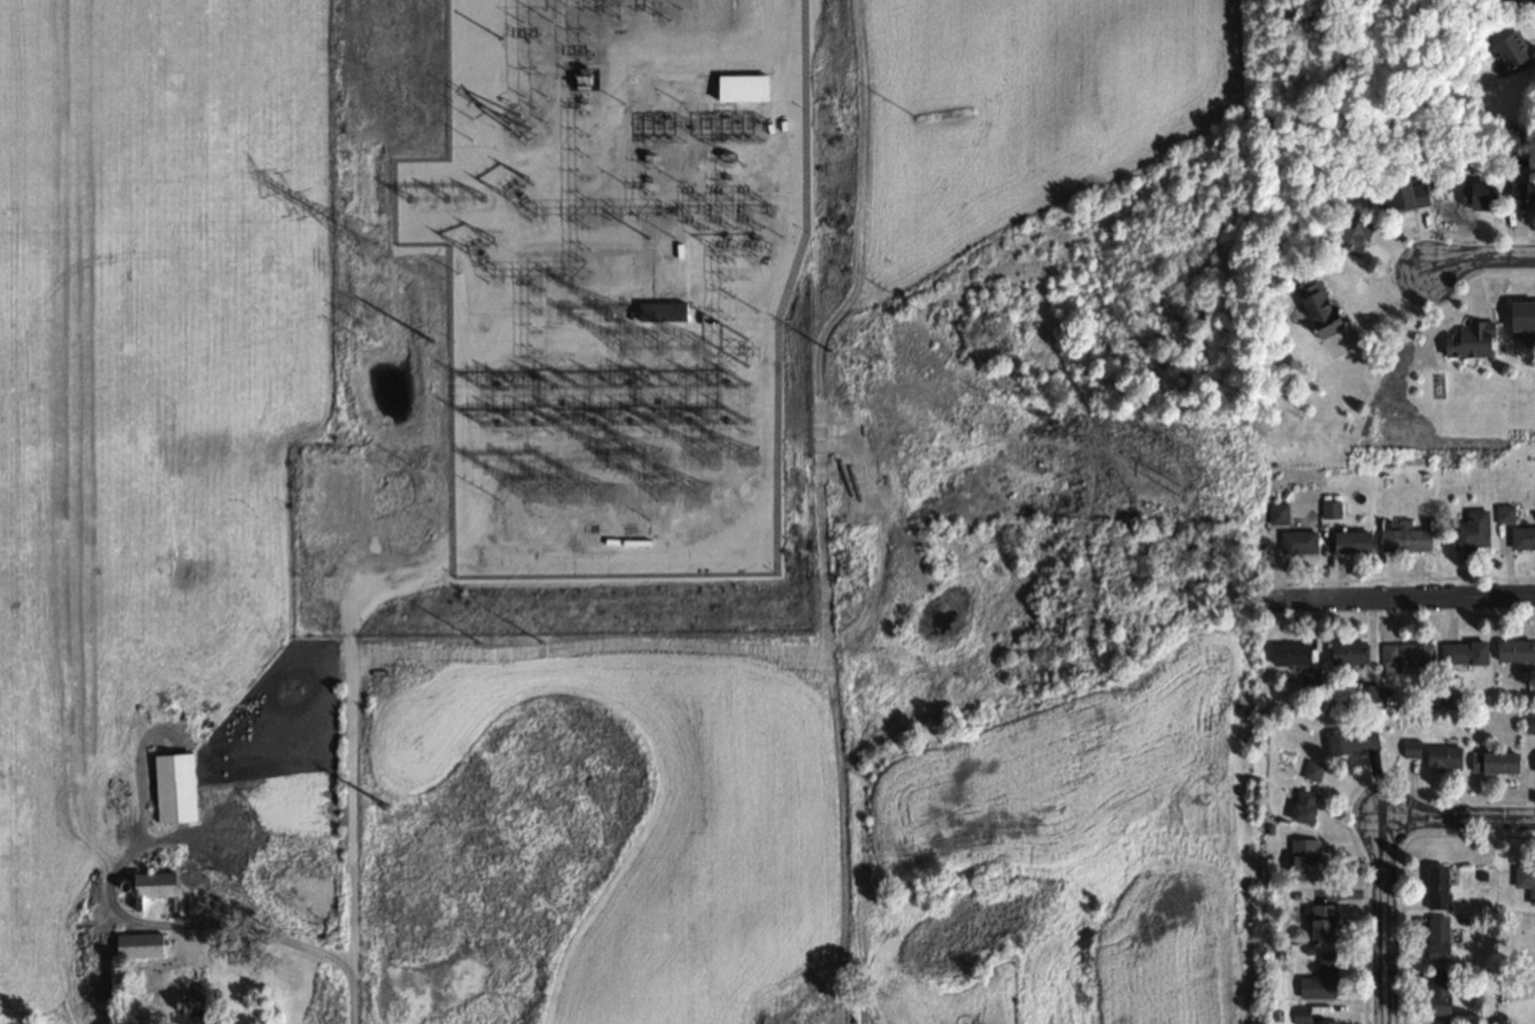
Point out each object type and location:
building: (1506, 4)
building: (1514, 53)
building: (741, 90)
crop: (1025, 112)
power tower: (911, 115)
power tower: (465, 120)
building: (1522, 197)
power tower: (464, 199)
building: (1403, 199)
building: (1476, 199)
power tower: (427, 201)
building: (1351, 235)
power tower: (366, 243)
road: (1478, 262)
power tower: (453, 273)
power tower: (911, 309)
building: (661, 311)
power tower: (753, 311)
building: (1318, 312)
power substation: (563, 321)
building: (1522, 322)
power tower: (359, 324)
power tower: (426, 342)
building: (1469, 343)
crop: (140, 416)
power tower: (545, 421)
power tower: (1180, 454)
power tower: (746, 458)
power tower: (410, 470)
power tower: (701, 492)
power tower: (1179, 492)
power tower: (664, 494)
power tower: (565, 495)
power tower: (500, 506)
building: (1330, 511)
building: (1278, 515)
building: (1471, 532)
building: (1522, 539)
building: (1405, 542)
building: (1297, 543)
building: (1351, 543)
road: (1400, 599)
power tower: (538, 642)
power tower: (469, 643)
building: (1515, 652)
building: (1463, 654)
building: (1349, 655)
building: (1289, 656)
building: (1406, 657)
building: (1530, 725)
building: (1352, 742)
building: (1411, 750)
building: (1443, 758)
building: (1494, 763)
building: (1312, 772)
building: (175, 789)
building: (1304, 808)
crop: (660, 809)
power tower: (386, 810)
road: (1457, 816)
crop: (1092, 833)
building: (1303, 860)
building: (1526, 882)
building: (152, 888)
building: (1437, 889)
road: (1380, 920)
building: (1322, 923)
building: (1438, 940)
road: (298, 945)
building: (139, 946)
building: (1320, 981)
building: (1439, 993)
building: (191, 1003)
building: (1300, 1016)
building: (1327, 1023)
building: (1441, 1023)

